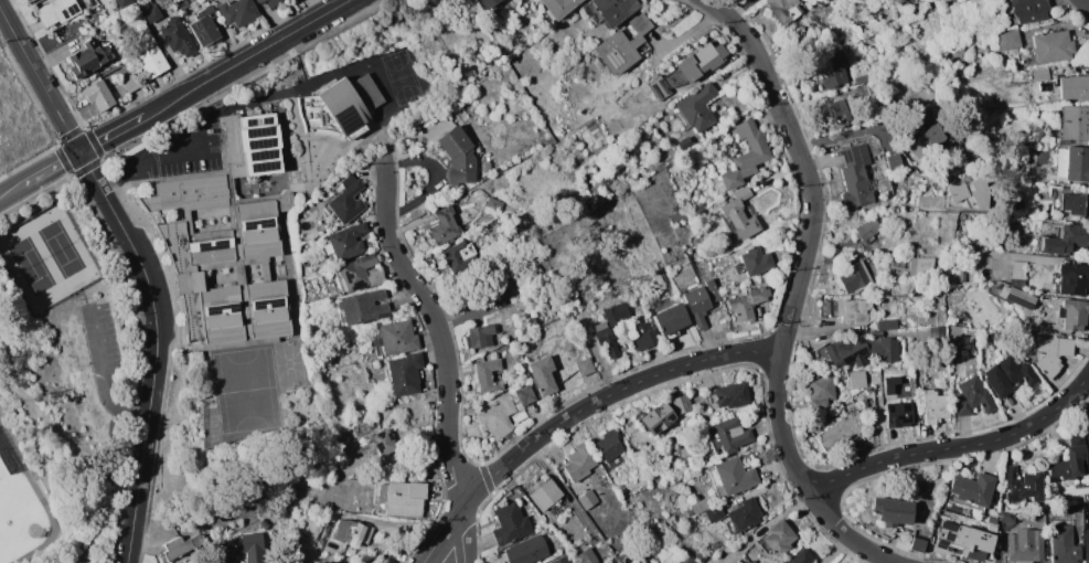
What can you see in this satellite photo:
building: (30, 0)
building: (908, 0)
building: (258, 1)
building: (88, 2)
building: (124, 2)
building: (273, 2)
building: (488, 3)
road: (1083, 3)
building: (558, 7)
road: (739, 8)
road: (715, 9)
building: (780, 9)
building: (153, 10)
building: (613, 10)
building: (1026, 10)
building: (57, 12)
building: (238, 12)
building: (204, 26)
building: (177, 35)
building: (1007, 40)
building: (401, 44)
building: (623, 44)
building: (1051, 46)
building: (150, 55)
road: (247, 57)
building: (84, 59)
building: (695, 62)
building: (832, 68)
building: (1039, 73)
building: (862, 78)
road: (40, 79)
building: (130, 83)
building: (1074, 86)
building: (658, 88)
building: (98, 95)
building: (697, 106)
building: (344, 109)
building: (837, 110)
building: (1075, 124)
road: (113, 134)
road: (853, 134)
building: (928, 142)
traffic signals: (81, 152)
building: (746, 155)
building: (458, 156)
road: (148, 162)
building: (1077, 164)
road: (52, 168)
building: (856, 176)
building: (264, 180)
building: (255, 181)
building: (875, 181)
building: (246, 182)
building: (762, 183)
building: (609, 184)
building: (265, 189)
building: (256, 190)
road: (12, 191)
building: (247, 191)
building: (955, 191)
building: (980, 194)
building: (345, 199)
building: (600, 202)
building: (495, 203)
building: (1074, 203)
building: (676, 214)
building: (740, 214)
building: (445, 226)
building: (867, 231)
building: (228, 238)
building: (1066, 238)
building: (345, 242)
building: (458, 255)
building: (831, 257)
park: (50, 258)
building: (755, 261)
building: (921, 266)
building: (1017, 269)
building: (360, 273)
building: (962, 276)
building: (854, 278)
building: (1071, 279)
building: (712, 289)
building: (1016, 297)
building: (747, 301)
road: (792, 302)
building: (696, 305)
building: (361, 307)
building: (853, 310)
building: (617, 314)
building: (1074, 314)
building: (670, 320)
building: (910, 321)
building: (887, 325)
road: (439, 332)
building: (875, 332)
building: (479, 336)
building: (398, 337)
building: (643, 337)
building: (607, 342)
road: (156, 349)
building: (886, 350)
building: (846, 352)
building: (953, 352)
building: (1050, 352)
building: (985, 360)
building: (585, 367)
building: (548, 368)
building: (404, 374)
building: (487, 375)
building: (1006, 376)
building: (856, 379)
road: (104, 381)
park: (63, 383)
building: (889, 384)
building: (877, 390)
building: (820, 391)
building: (730, 394)
building: (524, 395)
road: (604, 396)
building: (973, 397)
building: (682, 403)
building: (933, 405)
building: (387, 412)
building: (898, 415)
building: (498, 417)
building: (658, 418)
building: (841, 427)
building: (872, 427)
building: (732, 434)
building: (384, 442)
building: (608, 445)
road: (954, 447)
building: (1069, 459)
building: (578, 464)
building: (659, 476)
building: (734, 476)
building: (1024, 486)
building: (972, 488)
road: (110, 490)
building: (544, 493)
building: (1087, 497)
building: (404, 499)
building: (588, 499)
road: (43, 503)
building: (701, 504)
building: (328, 506)
building: (560, 509)
building: (893, 510)
building: (1076, 510)
park: (17, 513)
building: (714, 513)
building: (744, 514)
building: (1007, 517)
building: (992, 519)
building: (264, 524)
building: (510, 524)
building: (662, 525)
building: (352, 532)
road: (442, 537)
road: (462, 537)
building: (778, 538)
building: (963, 540)
building: (917, 544)
building: (1063, 544)
building: (182, 545)
building: (1025, 545)
building: (1086, 545)
building: (526, 551)
building: (255, 553)
building: (587, 556)
building: (801, 557)
building: (562, 560)
building: (690, 560)
building: (327, 562)
building: (751, 562)

